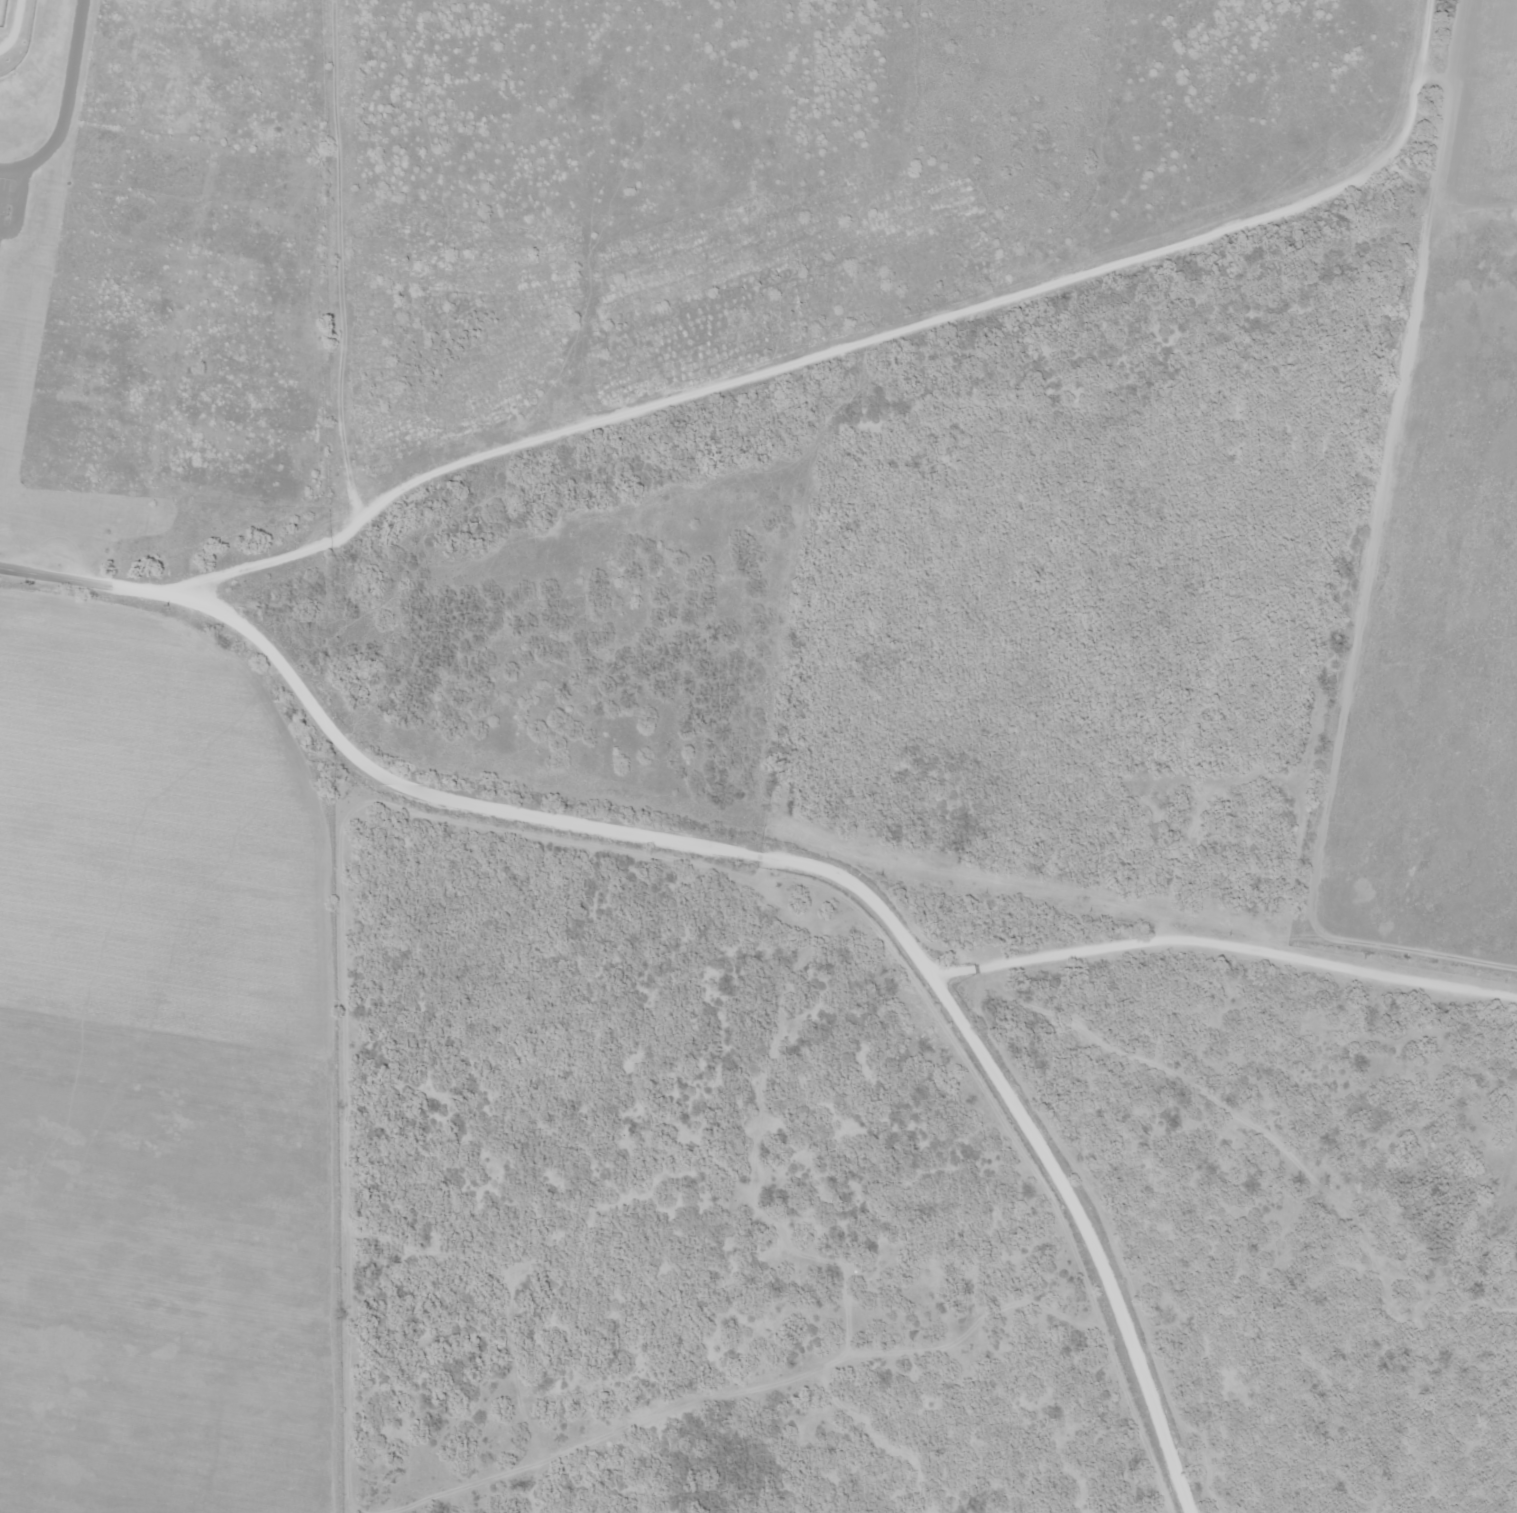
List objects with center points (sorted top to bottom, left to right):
road: (67, 93)
road: (1452, 104)
road: (9, 167)
road: (332, 238)
road: (822, 313)
road: (106, 368)
road: (42, 575)
road: (123, 586)
road: (827, 871)
road: (1224, 945)
road: (248, 1124)

